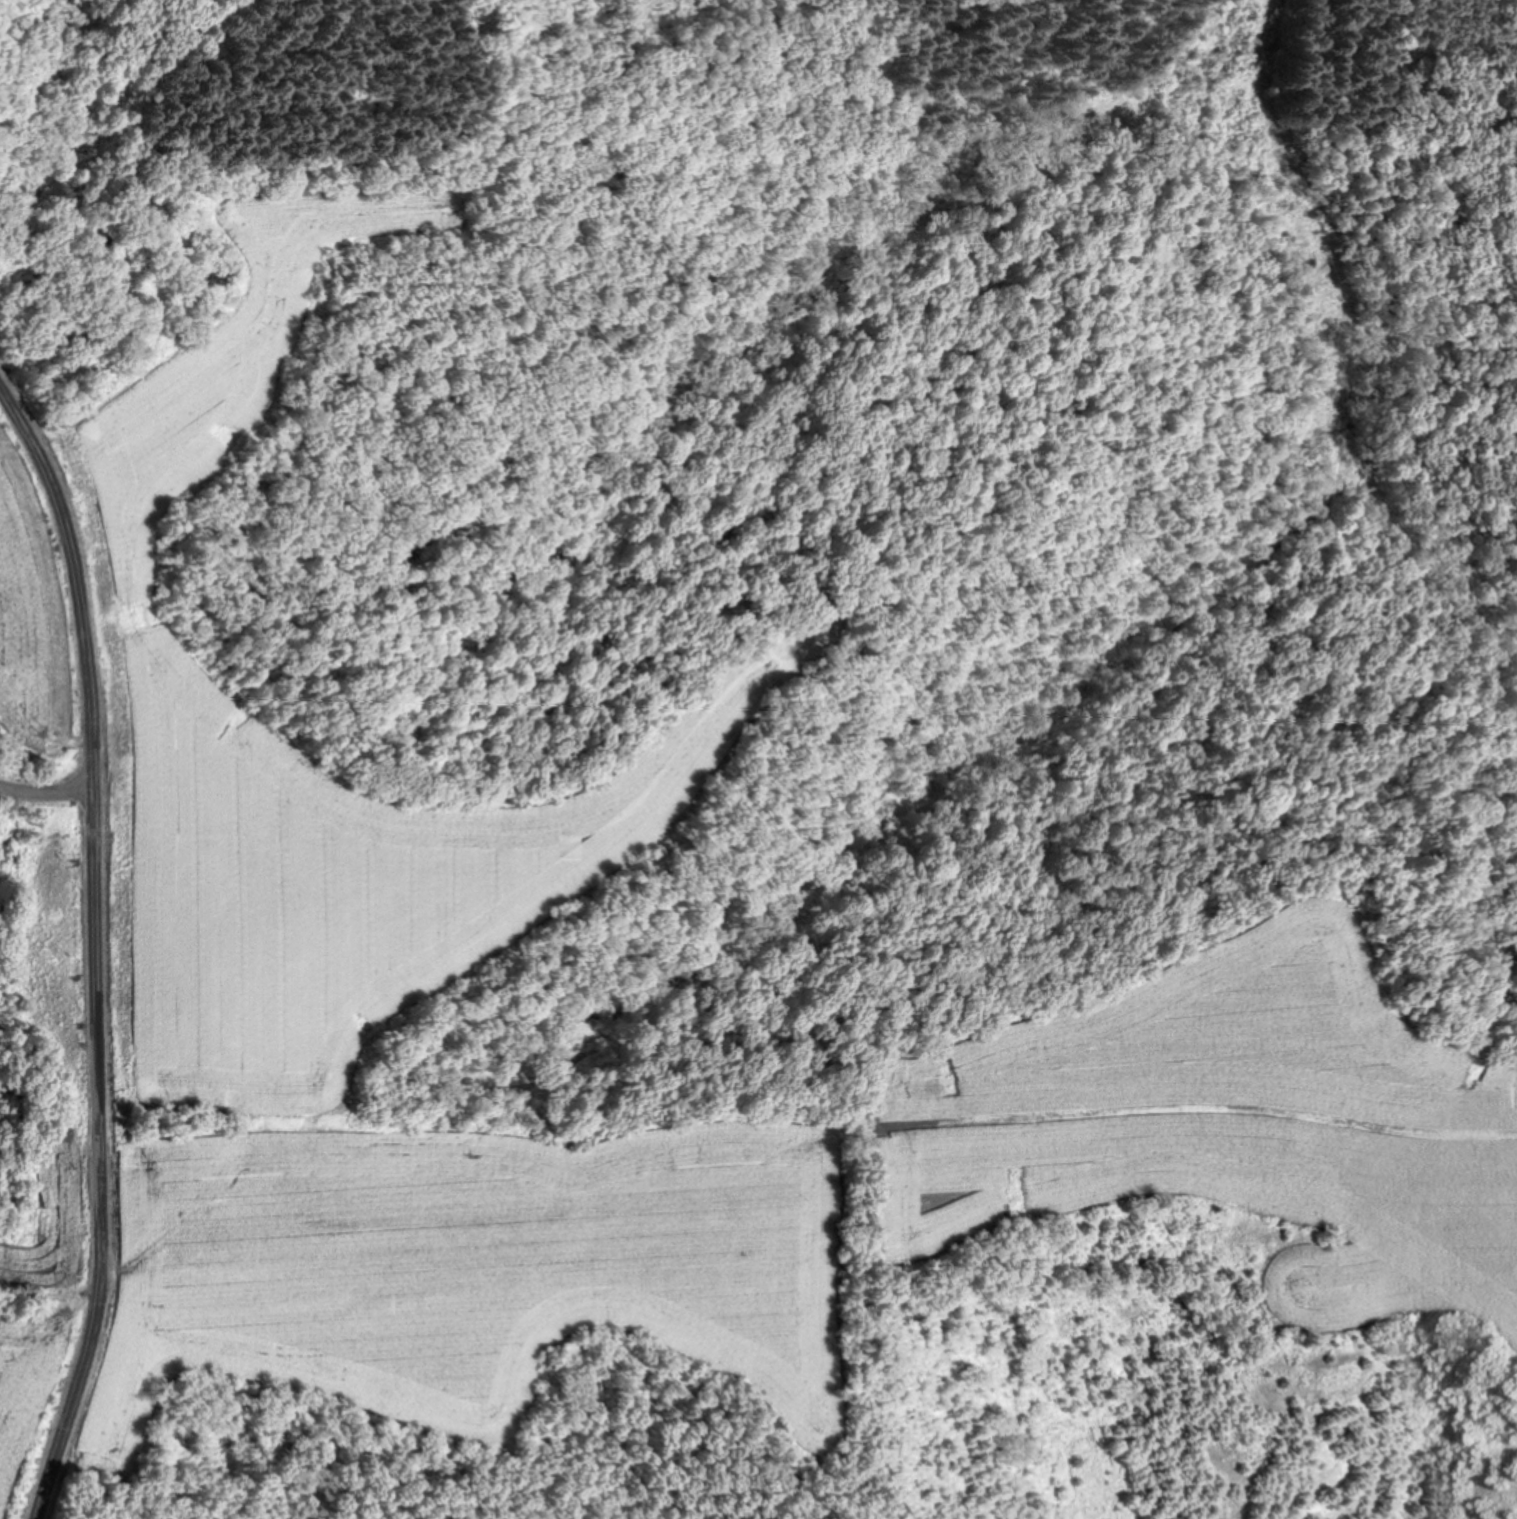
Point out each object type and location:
building: (207, 284)
road: (134, 394)
road: (46, 790)
road: (95, 943)

